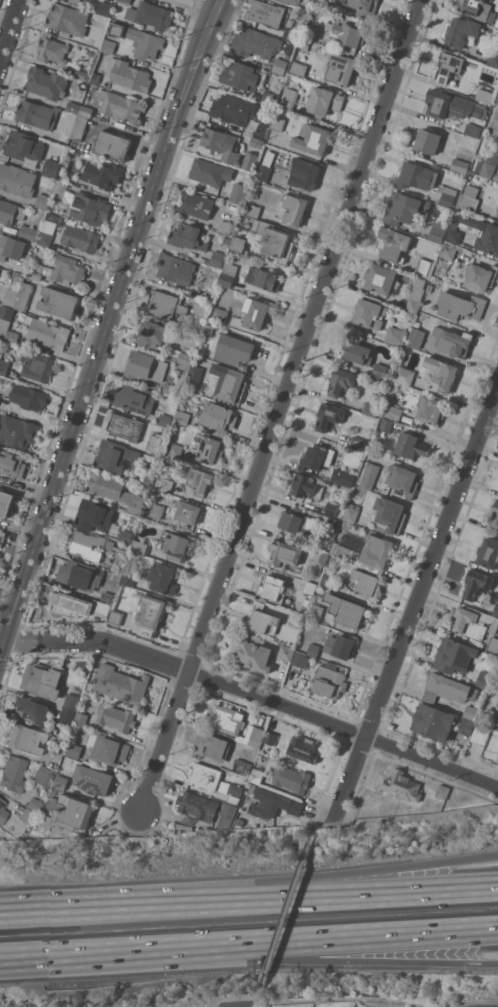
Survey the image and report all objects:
building: (91, 0)
building: (75, 1)
building: (124, 1)
building: (294, 1)
building: (320, 1)
building: (364, 7)
building: (105, 8)
building: (478, 10)
building: (265, 13)
building: (151, 15)
building: (68, 20)
road: (212, 20)
building: (462, 31)
building: (311, 32)
building: (348, 32)
road: (11, 33)
building: (293, 35)
building: (145, 43)
building: (255, 43)
building: (304, 44)
building: (112, 47)
building: (52, 50)
building: (91, 52)
building: (493, 57)
road: (198, 61)
building: (450, 65)
building: (280, 66)
building: (298, 68)
building: (341, 69)
building: (81, 74)
building: (129, 74)
building: (241, 75)
building: (96, 77)
building: (46, 82)
building: (484, 95)
building: (267, 97)
building: (288, 99)
building: (324, 102)
building: (119, 105)
building: (453, 106)
building: (72, 107)
building: (85, 110)
building: (238, 113)
building: (496, 113)
building: (37, 114)
building: (277, 123)
building: (79, 127)
building: (472, 129)
building: (312, 138)
building: (427, 140)
building: (256, 142)
building: (222, 144)
building: (25, 145)
building: (113, 145)
building: (250, 160)
building: (460, 165)
building: (487, 165)
building: (51, 171)
building: (210, 172)
building: (263, 172)
building: (304, 173)
building: (103, 174)
building: (417, 176)
building: (473, 176)
building: (17, 180)
building: (61, 188)
building: (238, 193)
building: (447, 195)
building: (469, 197)
building: (42, 201)
building: (196, 204)
building: (90, 207)
building: (404, 208)
building: (294, 209)
building: (497, 209)
building: (253, 210)
building: (10, 212)
building: (497, 213)
building: (227, 226)
building: (437, 232)
building: (29, 233)
building: (490, 233)
building: (69, 234)
building: (453, 234)
building: (188, 237)
building: (227, 240)
building: (275, 241)
building: (238, 243)
building: (394, 243)
building: (11, 247)
building: (448, 251)
building: (217, 259)
building: (423, 266)
building: (175, 268)
building: (60, 270)
building: (228, 274)
building: (480, 276)
building: (380, 278)
building: (263, 279)
building: (11, 295)
building: (415, 295)
building: (24, 296)
building: (60, 302)
building: (166, 304)
building: (461, 306)
building: (202, 307)
building: (6, 311)
building: (255, 313)
building: (369, 313)
building: (220, 315)
building: (209, 329)
building: (48, 333)
building: (152, 333)
building: (11, 336)
building: (396, 336)
building: (416, 336)
building: (453, 342)
building: (234, 349)
building: (356, 353)
building: (185, 358)
building: (3, 366)
building: (38, 366)
building: (144, 366)
building: (379, 370)
building: (441, 374)
building: (404, 375)
building: (194, 376)
building: (171, 380)
building: (342, 381)
road: (88, 383)
building: (229, 383)
building: (172, 388)
building: (0, 392)
building: (28, 396)
building: (134, 398)
road: (281, 405)
building: (371, 408)
building: (430, 409)
building: (392, 412)
building: (329, 416)
building: (182, 417)
building: (218, 418)
building: (164, 420)
building: (386, 424)
building: (124, 426)
building: (17, 431)
building: (356, 442)
building: (154, 443)
building: (411, 446)
building: (208, 448)
building: (175, 450)
building: (114, 455)
building: (318, 456)
building: (11, 463)
building: (369, 475)
building: (343, 477)
building: (146, 479)
building: (403, 479)
building: (200, 480)
building: (167, 485)
building: (306, 487)
building: (114, 490)
building: (5, 503)
building: (331, 509)
building: (156, 511)
building: (352, 512)
building: (187, 513)
building: (391, 514)
building: (495, 514)
building: (94, 515)
building: (296, 521)
building: (333, 524)
building: (344, 525)
building: (2, 536)
building: (125, 536)
building: (174, 545)
building: (140, 547)
building: (85, 551)
building: (344, 551)
building: (376, 553)
building: (488, 553)
building: (286, 555)
building: (318, 560)
road: (433, 565)
building: (79, 575)
building: (128, 578)
building: (162, 578)
building: (327, 581)
building: (365, 581)
building: (477, 585)
building: (309, 587)
building: (273, 588)
building: (107, 597)
building: (320, 598)
building: (69, 606)
building: (106, 609)
building: (495, 609)
building: (346, 610)
building: (315, 612)
building: (150, 614)
building: (115, 617)
building: (263, 619)
building: (297, 619)
building: (474, 622)
road: (1, 643)
building: (493, 644)
building: (340, 645)
road: (1, 648)
building: (313, 650)
building: (286, 652)
building: (253, 655)
building: (455, 655)
building: (301, 660)
building: (66, 664)
road: (188, 673)
building: (43, 678)
building: (484, 679)
building: (329, 680)
building: (121, 684)
building: (76, 690)
building: (465, 690)
building: (430, 695)
building: (72, 701)
building: (31, 710)
building: (497, 710)
building: (471, 712)
building: (67, 715)
building: (116, 717)
building: (81, 718)
building: (225, 719)
building: (433, 722)
building: (496, 723)
building: (466, 726)
building: (256, 733)
building: (480, 734)
building: (270, 737)
building: (22, 739)
building: (211, 745)
building: (73, 748)
building: (305, 748)
building: (109, 750)
road: (433, 763)
building: (242, 767)
building: (12, 774)
building: (204, 775)
building: (256, 776)
building: (42, 777)
building: (291, 778)
building: (93, 780)
road: (352, 780)
building: (60, 782)
building: (403, 785)
building: (227, 788)
building: (55, 791)
building: (443, 791)
building: (234, 799)
building: (438, 801)
building: (273, 804)
building: (32, 805)
building: (206, 808)
building: (2, 811)
building: (71, 811)
building: (25, 816)
road: (323, 817)
building: (40, 823)
road: (100, 830)
road: (291, 883)
road: (290, 897)
road: (285, 909)
road: (42, 913)
road: (292, 941)
road: (43, 955)
road: (292, 958)
road: (338, 997)
road: (248, 1000)

